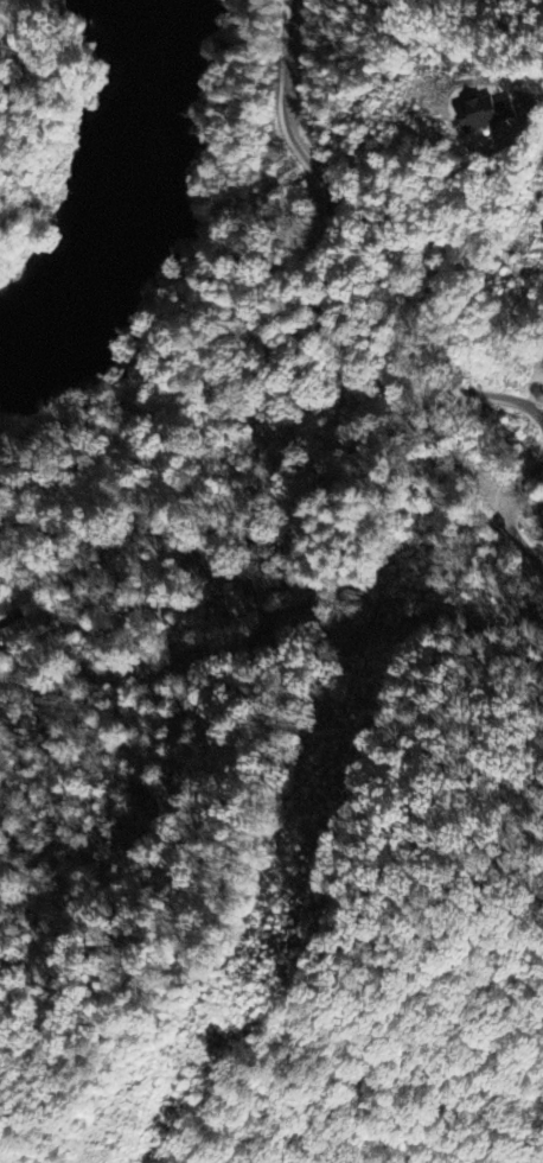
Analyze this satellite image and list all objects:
road: (31, 58)
road: (288, 94)
building: (484, 114)
river: (145, 131)
road: (305, 250)
river: (45, 291)
road: (383, 381)
road: (300, 517)
road: (510, 534)
building: (234, 600)
building: (26, 627)

